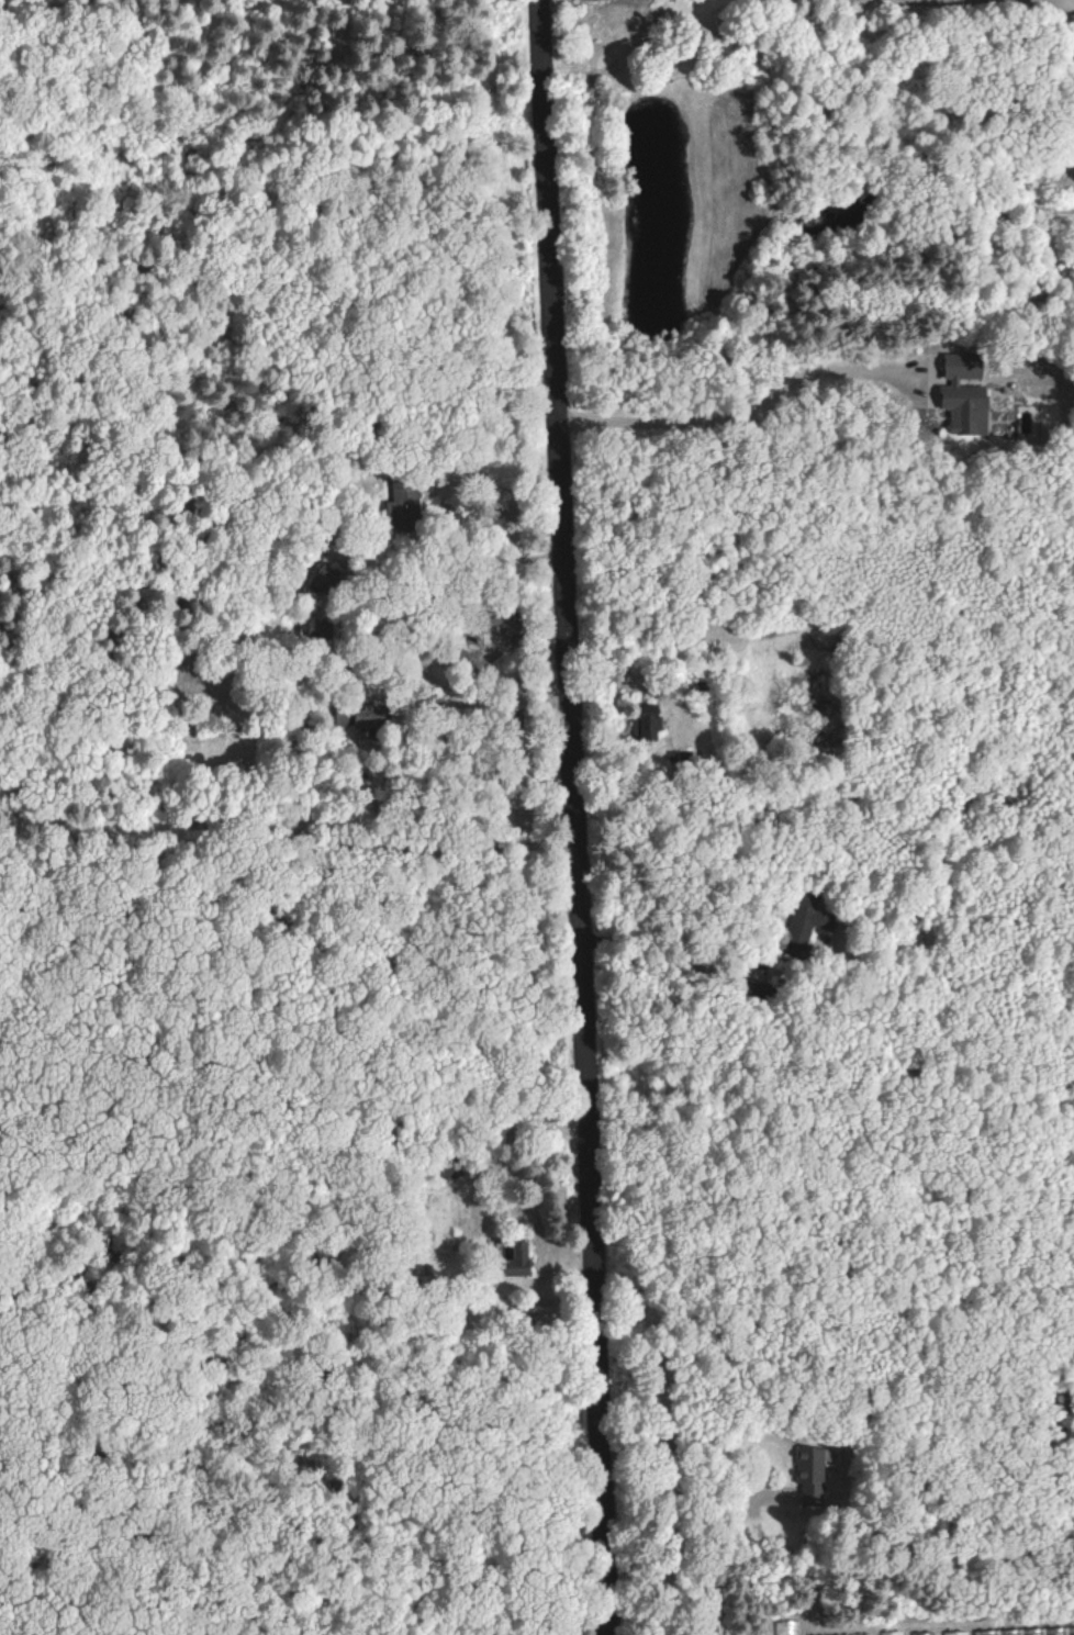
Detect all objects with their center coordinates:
building: (961, 393)
road: (737, 414)
building: (402, 506)
road: (496, 509)
road: (257, 544)
road: (449, 590)
building: (358, 717)
building: (645, 720)
road: (579, 817)
road: (290, 855)
building: (804, 926)
road: (294, 1093)
building: (514, 1259)
road: (701, 1448)
building: (812, 1474)
road: (18, 1577)
building: (1029, 1632)
building: (954, 1633)
building: (862, 1634)

